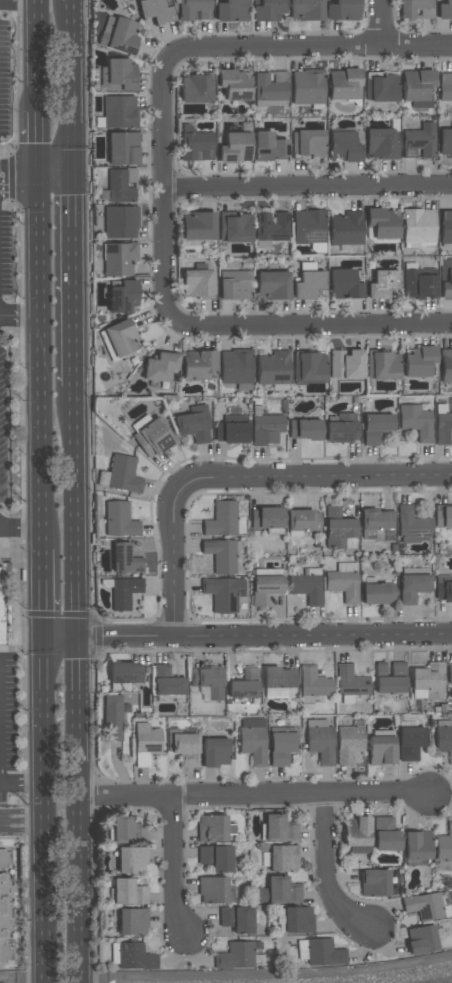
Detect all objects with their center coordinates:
road: (18, 1)
building: (416, 9)
building: (194, 10)
building: (267, 10)
building: (305, 10)
building: (343, 10)
building: (444, 10)
building: (154, 11)
building: (231, 11)
road: (380, 25)
building: (119, 35)
road: (37, 49)
road: (309, 51)
building: (120, 75)
building: (233, 84)
building: (343, 84)
building: (381, 86)
building: (445, 86)
building: (307, 87)
building: (417, 87)
road: (71, 88)
building: (271, 88)
building: (195, 89)
building: (119, 111)
road: (37, 137)
building: (419, 141)
building: (445, 142)
building: (307, 143)
building: (380, 144)
building: (197, 146)
building: (269, 146)
building: (235, 147)
building: (343, 147)
building: (123, 148)
road: (19, 170)
road: (55, 176)
road: (19, 184)
building: (121, 185)
road: (308, 186)
road: (165, 188)
building: (120, 222)
building: (382, 223)
building: (198, 226)
building: (272, 226)
building: (418, 226)
building: (445, 226)
building: (234, 227)
building: (308, 227)
building: (346, 229)
building: (118, 258)
building: (446, 279)
road: (72, 281)
building: (196, 283)
building: (382, 283)
building: (419, 283)
building: (308, 284)
building: (344, 284)
building: (234, 285)
building: (272, 285)
building: (122, 296)
road: (19, 319)
road: (310, 324)
building: (121, 338)
building: (419, 362)
building: (346, 364)
road: (38, 365)
building: (198, 365)
building: (383, 365)
building: (446, 365)
building: (160, 367)
building: (235, 367)
building: (309, 367)
building: (273, 368)
building: (416, 422)
building: (194, 424)
building: (376, 427)
building: (342, 428)
building: (266, 429)
building: (304, 429)
building: (443, 429)
building: (231, 430)
building: (152, 439)
building: (123, 475)
road: (317, 480)
road: (74, 513)
building: (443, 517)
building: (119, 520)
building: (224, 520)
building: (267, 520)
building: (303, 520)
building: (376, 525)
building: (411, 526)
road: (19, 527)
building: (338, 530)
building: (221, 556)
road: (174, 559)
building: (124, 560)
building: (343, 582)
building: (307, 586)
building: (264, 587)
building: (413, 588)
building: (443, 589)
building: (124, 593)
building: (378, 593)
building: (223, 594)
road: (41, 597)
building: (1, 609)
road: (263, 636)
road: (59, 641)
traffic signals: (76, 641)
traffic signals: (42, 642)
building: (449, 673)
building: (124, 675)
building: (389, 677)
building: (207, 681)
building: (166, 682)
building: (350, 682)
building: (428, 682)
building: (279, 683)
building: (314, 683)
building: (244, 685)
building: (113, 717)
building: (443, 736)
building: (253, 741)
building: (320, 741)
building: (410, 741)
building: (146, 743)
building: (348, 744)
building: (281, 748)
building: (184, 749)
building: (381, 751)
building: (215, 752)
road: (21, 781)
road: (254, 801)
road: (80, 811)
road: (42, 812)
road: (21, 824)
building: (211, 829)
building: (122, 830)
building: (279, 830)
building: (385, 835)
building: (417, 845)
building: (444, 849)
building: (216, 858)
building: (280, 859)
building: (131, 860)
road: (173, 870)
road: (330, 875)
building: (374, 883)
building: (212, 890)
building: (278, 891)
building: (128, 893)
building: (427, 906)
building: (4, 907)
building: (237, 920)
building: (294, 920)
building: (132, 922)
building: (420, 940)
building: (320, 953)
building: (238, 956)
building: (134, 957)
road: (226, 976)

